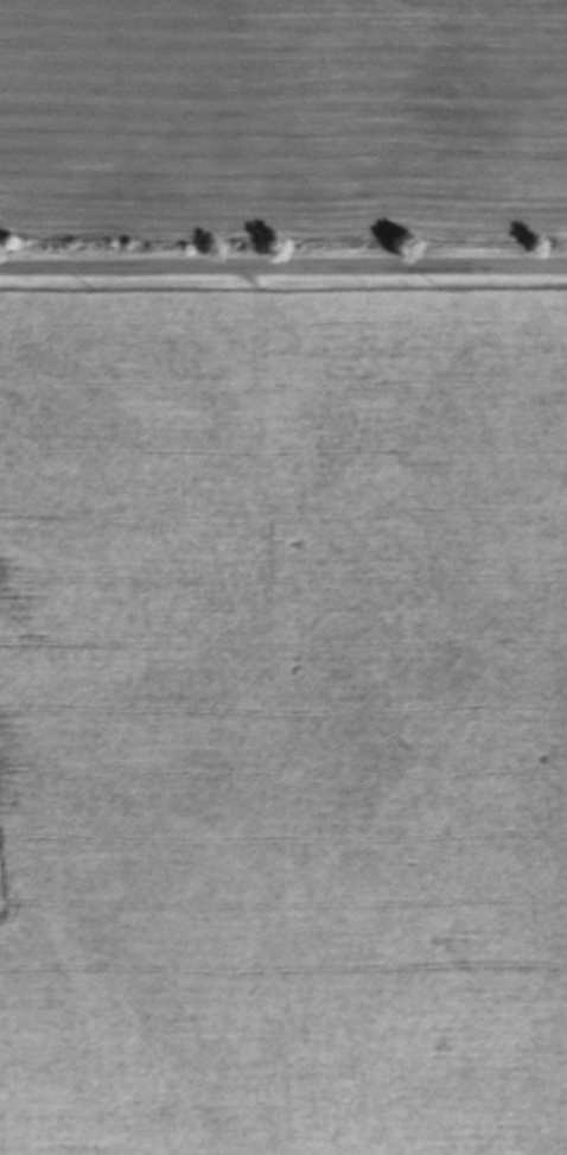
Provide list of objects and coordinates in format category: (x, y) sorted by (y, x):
road: (283, 265)

